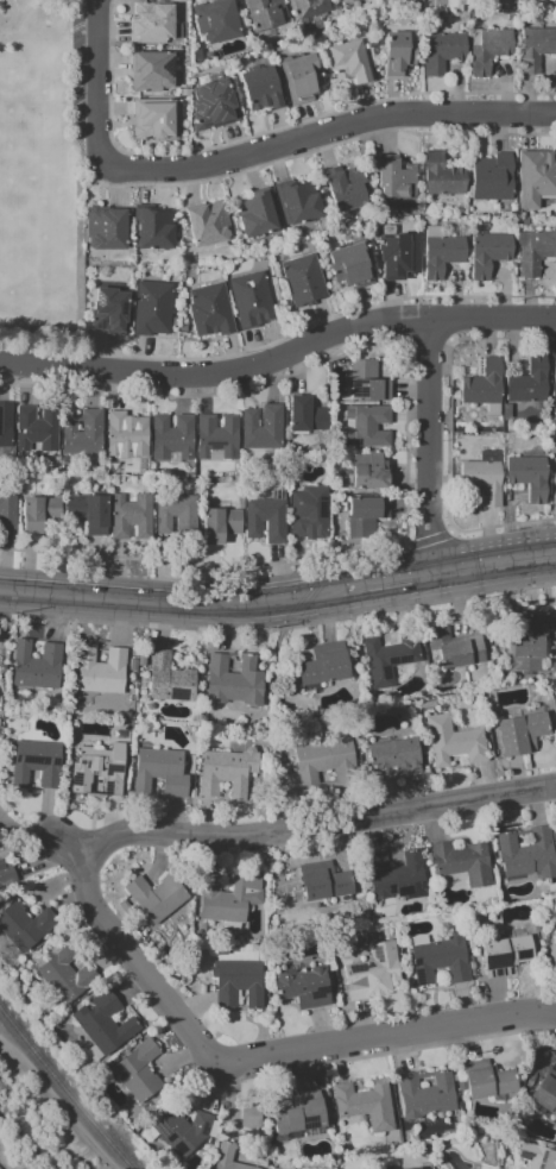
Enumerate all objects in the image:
building: (339, 0)
building: (347, 1)
building: (308, 8)
road: (50, 13)
building: (267, 14)
road: (13, 18)
building: (220, 23)
building: (153, 24)
road: (97, 38)
building: (537, 49)
building: (489, 50)
building: (444, 54)
building: (400, 55)
building: (353, 63)
building: (153, 73)
building: (308, 77)
parking lot: (76, 84)
building: (264, 89)
building: (217, 107)
building: (156, 120)
road: (283, 145)
road: (307, 152)
building: (444, 177)
building: (397, 178)
building: (537, 178)
building: (494, 180)
park: (39, 183)
building: (347, 189)
building: (301, 202)
building: (259, 214)
building: (526, 222)
building: (210, 225)
building: (108, 230)
building: (156, 230)
building: (538, 253)
building: (446, 254)
building: (492, 254)
building: (400, 257)
building: (355, 265)
building: (308, 281)
building: (254, 301)
building: (154, 310)
building: (112, 313)
building: (213, 313)
road: (492, 318)
road: (279, 339)
road: (217, 372)
building: (554, 378)
building: (531, 383)
building: (373, 384)
building: (486, 389)
building: (309, 417)
building: (6, 427)
building: (368, 427)
building: (40, 429)
building: (265, 429)
building: (86, 434)
building: (129, 435)
building: (176, 439)
building: (220, 439)
road: (428, 444)
building: (554, 457)
building: (373, 473)
building: (531, 478)
building: (486, 479)
building: (10, 509)
building: (91, 514)
building: (43, 515)
building: (314, 515)
building: (182, 516)
building: (367, 517)
building: (134, 518)
building: (268, 521)
building: (223, 527)
road: (492, 561)
road: (385, 580)
road: (170, 602)
building: (530, 648)
building: (457, 649)
building: (393, 660)
building: (144, 661)
building: (135, 666)
building: (39, 667)
building: (327, 667)
building: (103, 672)
building: (172, 681)
building: (235, 681)
building: (519, 735)
building: (453, 742)
building: (393, 758)
building: (36, 761)
building: (310, 763)
building: (99, 772)
building: (157, 772)
building: (227, 772)
road: (304, 831)
building: (525, 854)
building: (461, 862)
building: (4, 873)
building: (394, 875)
building: (322, 881)
building: (154, 897)
building: (227, 898)
building: (23, 925)
building: (554, 949)
building: (503, 955)
building: (438, 960)
building: (372, 973)
building: (63, 978)
building: (235, 982)
building: (303, 987)
building: (102, 1023)
road: (397, 1050)
road: (246, 1063)
building: (137, 1071)
building: (486, 1080)
railway: (64, 1087)
building: (424, 1093)
building: (544, 1093)
building: (364, 1104)
building: (298, 1114)
building: (248, 1115)
building: (179, 1130)
building: (537, 1157)
building: (227, 1158)
building: (415, 1168)

